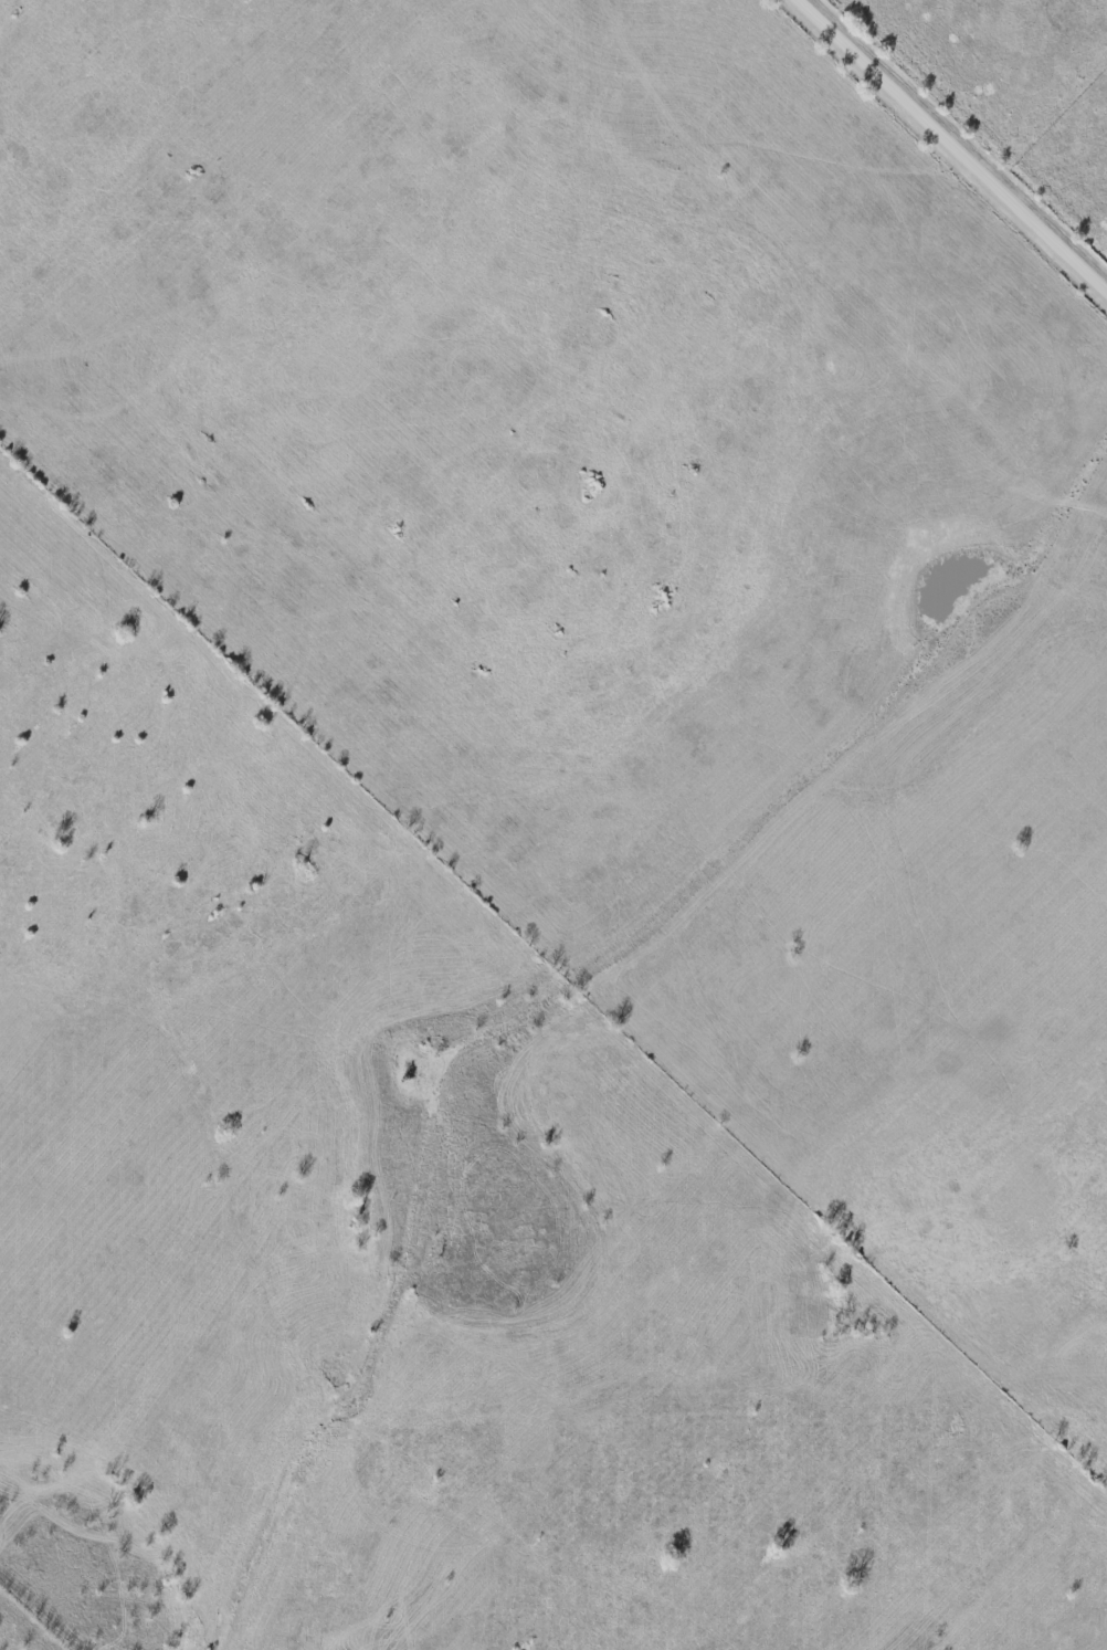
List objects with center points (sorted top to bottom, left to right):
road: (955, 141)

